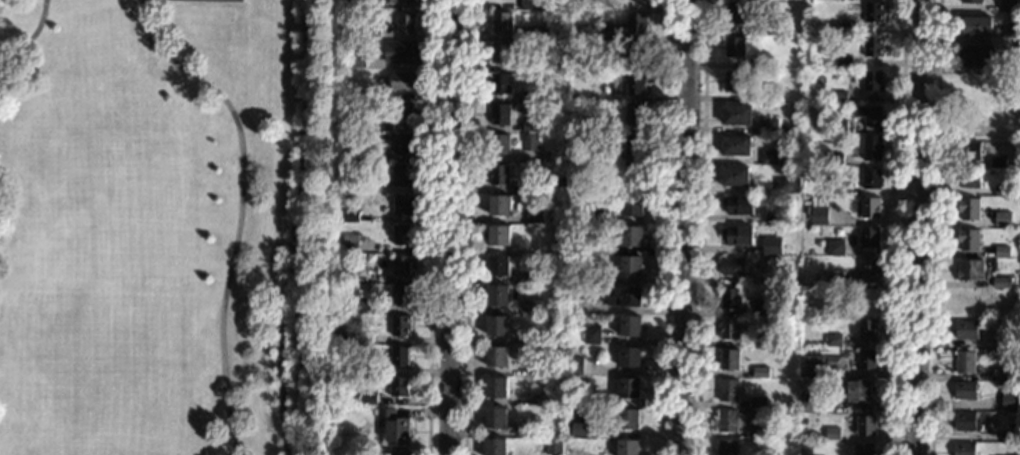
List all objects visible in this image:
building: (406, 2)
building: (971, 2)
building: (537, 5)
building: (372, 6)
building: (1007, 7)
building: (874, 14)
building: (736, 16)
building: (563, 19)
building: (406, 22)
building: (502, 24)
building: (635, 25)
building: (976, 27)
building: (768, 30)
building: (841, 30)
building: (748, 31)
building: (372, 32)
building: (1013, 34)
building: (540, 35)
building: (591, 35)
road: (30, 36)
building: (606, 37)
building: (873, 49)
building: (735, 50)
building: (401, 51)
building: (501, 55)
building: (636, 55)
building: (356, 58)
building: (979, 58)
building: (762, 63)
building: (547, 64)
building: (844, 64)
building: (1014, 64)
building: (531, 66)
building: (612, 68)
building: (402, 80)
building: (873, 83)
building: (734, 84)
building: (501, 85)
building: (602, 85)
building: (635, 86)
building: (365, 97)
building: (531, 98)
building: (766, 98)
building: (840, 99)
building: (402, 113)
building: (501, 116)
building: (737, 116)
building: (635, 117)
building: (872, 119)
building: (578, 125)
building: (344, 126)
building: (544, 128)
building: (770, 128)
building: (839, 128)
building: (531, 129)
building: (531, 144)
building: (403, 146)
building: (500, 147)
building: (635, 148)
building: (737, 148)
building: (872, 150)
building: (970, 153)
building: (593, 156)
building: (575, 159)
building: (769, 160)
building: (835, 161)
building: (998, 165)
building: (403, 176)
building: (500, 177)
building: (635, 178)
building: (736, 178)
building: (872, 181)
building: (969, 181)
building: (558, 187)
building: (367, 188)
building: (788, 188)
building: (606, 190)
building: (835, 191)
building: (1002, 193)
road: (240, 206)
building: (403, 206)
building: (500, 208)
building: (741, 208)
building: (633, 209)
building: (872, 211)
building: (969, 211)
building: (818, 212)
building: (535, 217)
building: (594, 218)
building: (351, 219)
building: (775, 219)
building: (1003, 221)
park: (158, 227)
road: (431, 227)
road: (453, 227)
road: (466, 227)
road: (665, 227)
road: (686, 227)
road: (700, 227)
road: (899, 227)
road: (921, 227)
road: (935, 227)
building: (403, 235)
building: (501, 236)
building: (740, 237)
building: (632, 238)
building: (870, 241)
building: (969, 241)
building: (818, 243)
building: (350, 245)
building: (594, 246)
building: (772, 248)
building: (836, 250)
building: (1002, 253)
building: (339, 257)
building: (779, 263)
building: (402, 265)
building: (500, 267)
building: (734, 267)
building: (632, 268)
building: (870, 270)
building: (970, 271)
building: (343, 272)
building: (543, 277)
building: (599, 277)
building: (836, 281)
building: (1002, 284)
building: (401, 296)
building: (499, 297)
building: (624, 298)
building: (731, 300)
building: (359, 306)
building: (534, 307)
building: (765, 309)
building: (401, 327)
building: (498, 327)
building: (631, 327)
building: (730, 330)
building: (869, 330)
building: (967, 331)
building: (593, 335)
building: (347, 336)
building: (552, 337)
building: (834, 342)
building: (1008, 344)
building: (760, 345)
building: (400, 356)
building: (498, 358)
building: (631, 359)
building: (868, 360)
building: (730, 361)
building: (965, 364)
building: (810, 366)
building: (555, 368)
building: (342, 369)
building: (576, 369)
building: (761, 373)
building: (1001, 376)
building: (400, 388)
building: (497, 389)
building: (630, 390)
building: (861, 391)
building: (729, 392)
building: (965, 392)
building: (368, 399)
building: (1010, 402)
building: (759, 403)
building: (809, 406)
building: (497, 420)
building: (630, 420)
building: (730, 422)
building: (965, 422)
building: (394, 426)
building: (867, 427)
building: (584, 429)
building: (532, 430)
building: (761, 431)
building: (833, 436)
building: (1009, 438)
building: (496, 447)
building: (551, 447)
building: (629, 447)
building: (728, 448)
building: (865, 450)
building: (964, 450)
building: (400, 453)

